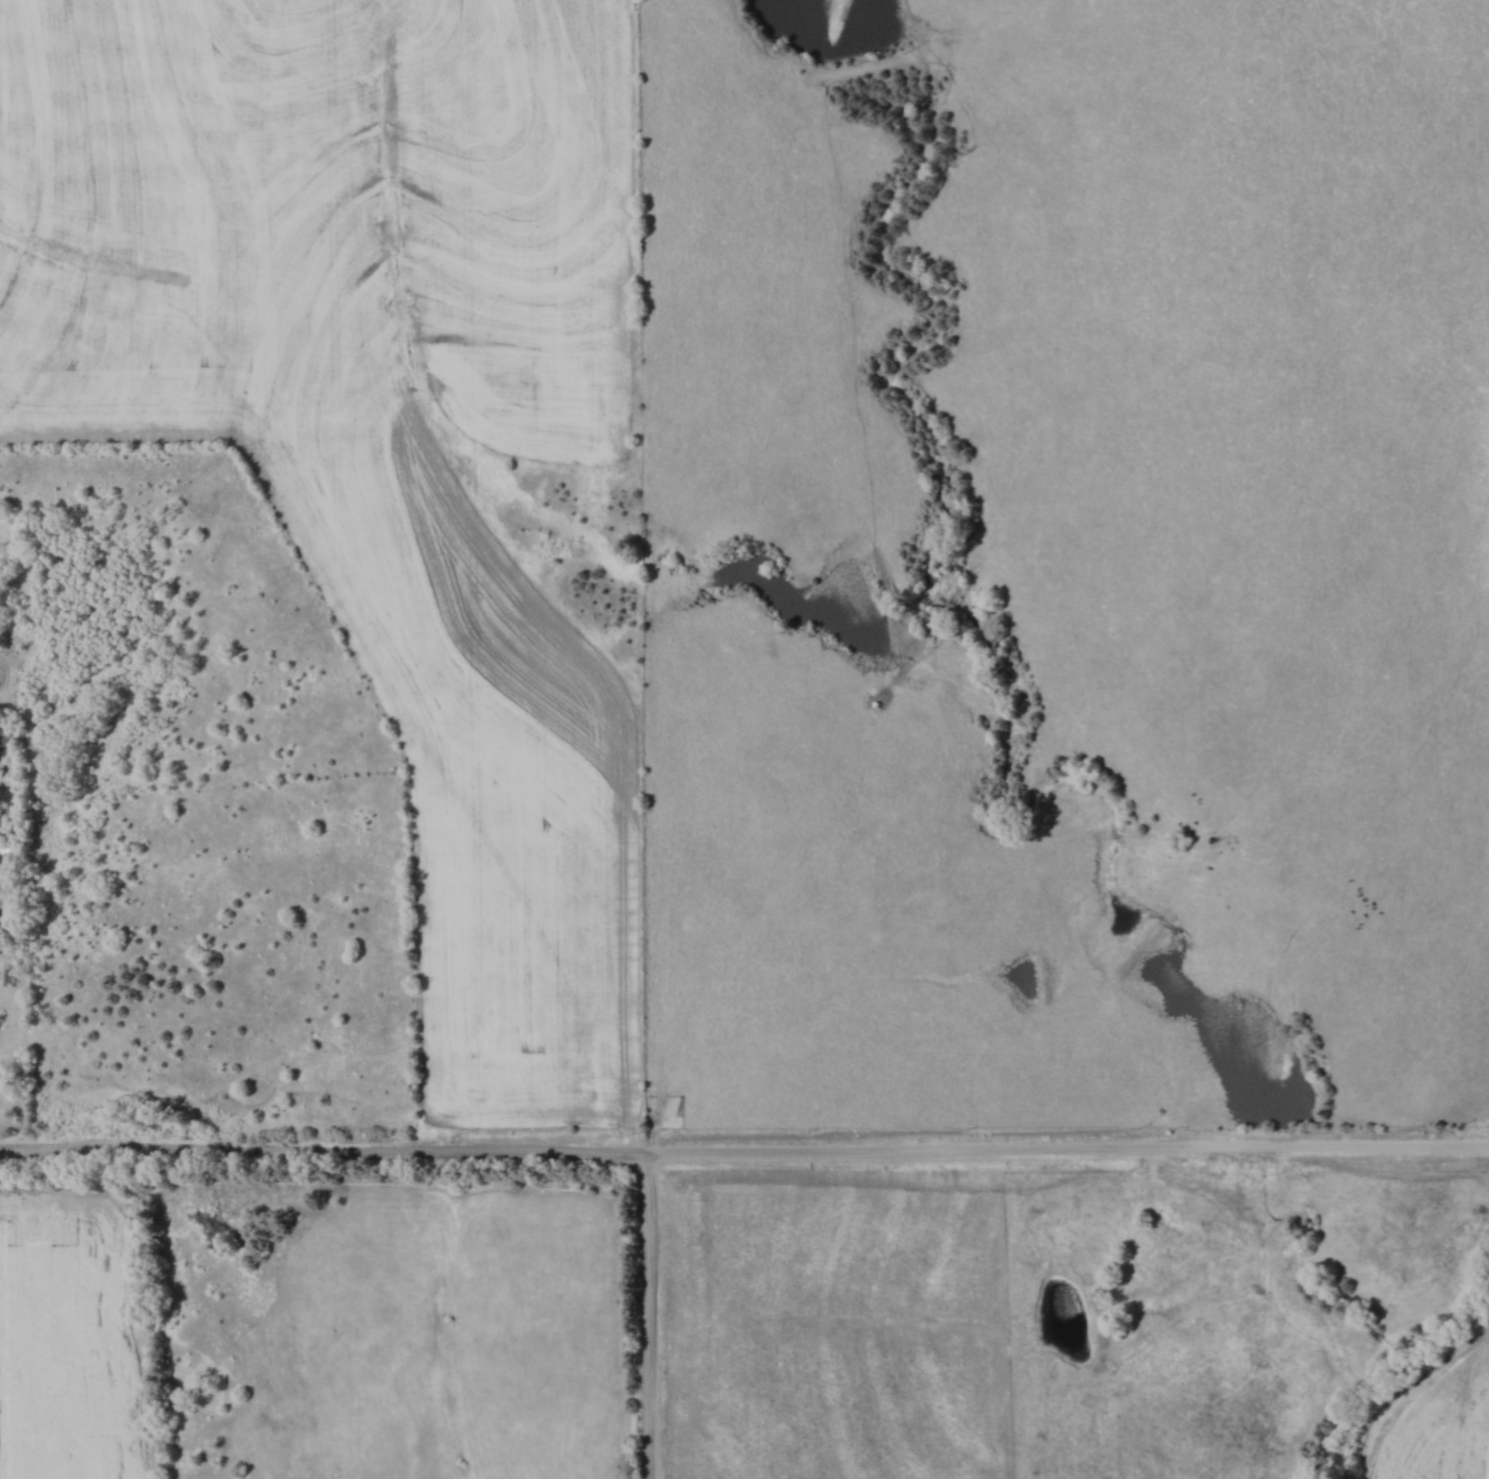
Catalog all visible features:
building: (6, 731)
building: (4, 824)
road: (744, 1152)
road: (655, 1315)
crop: (69, 1343)

